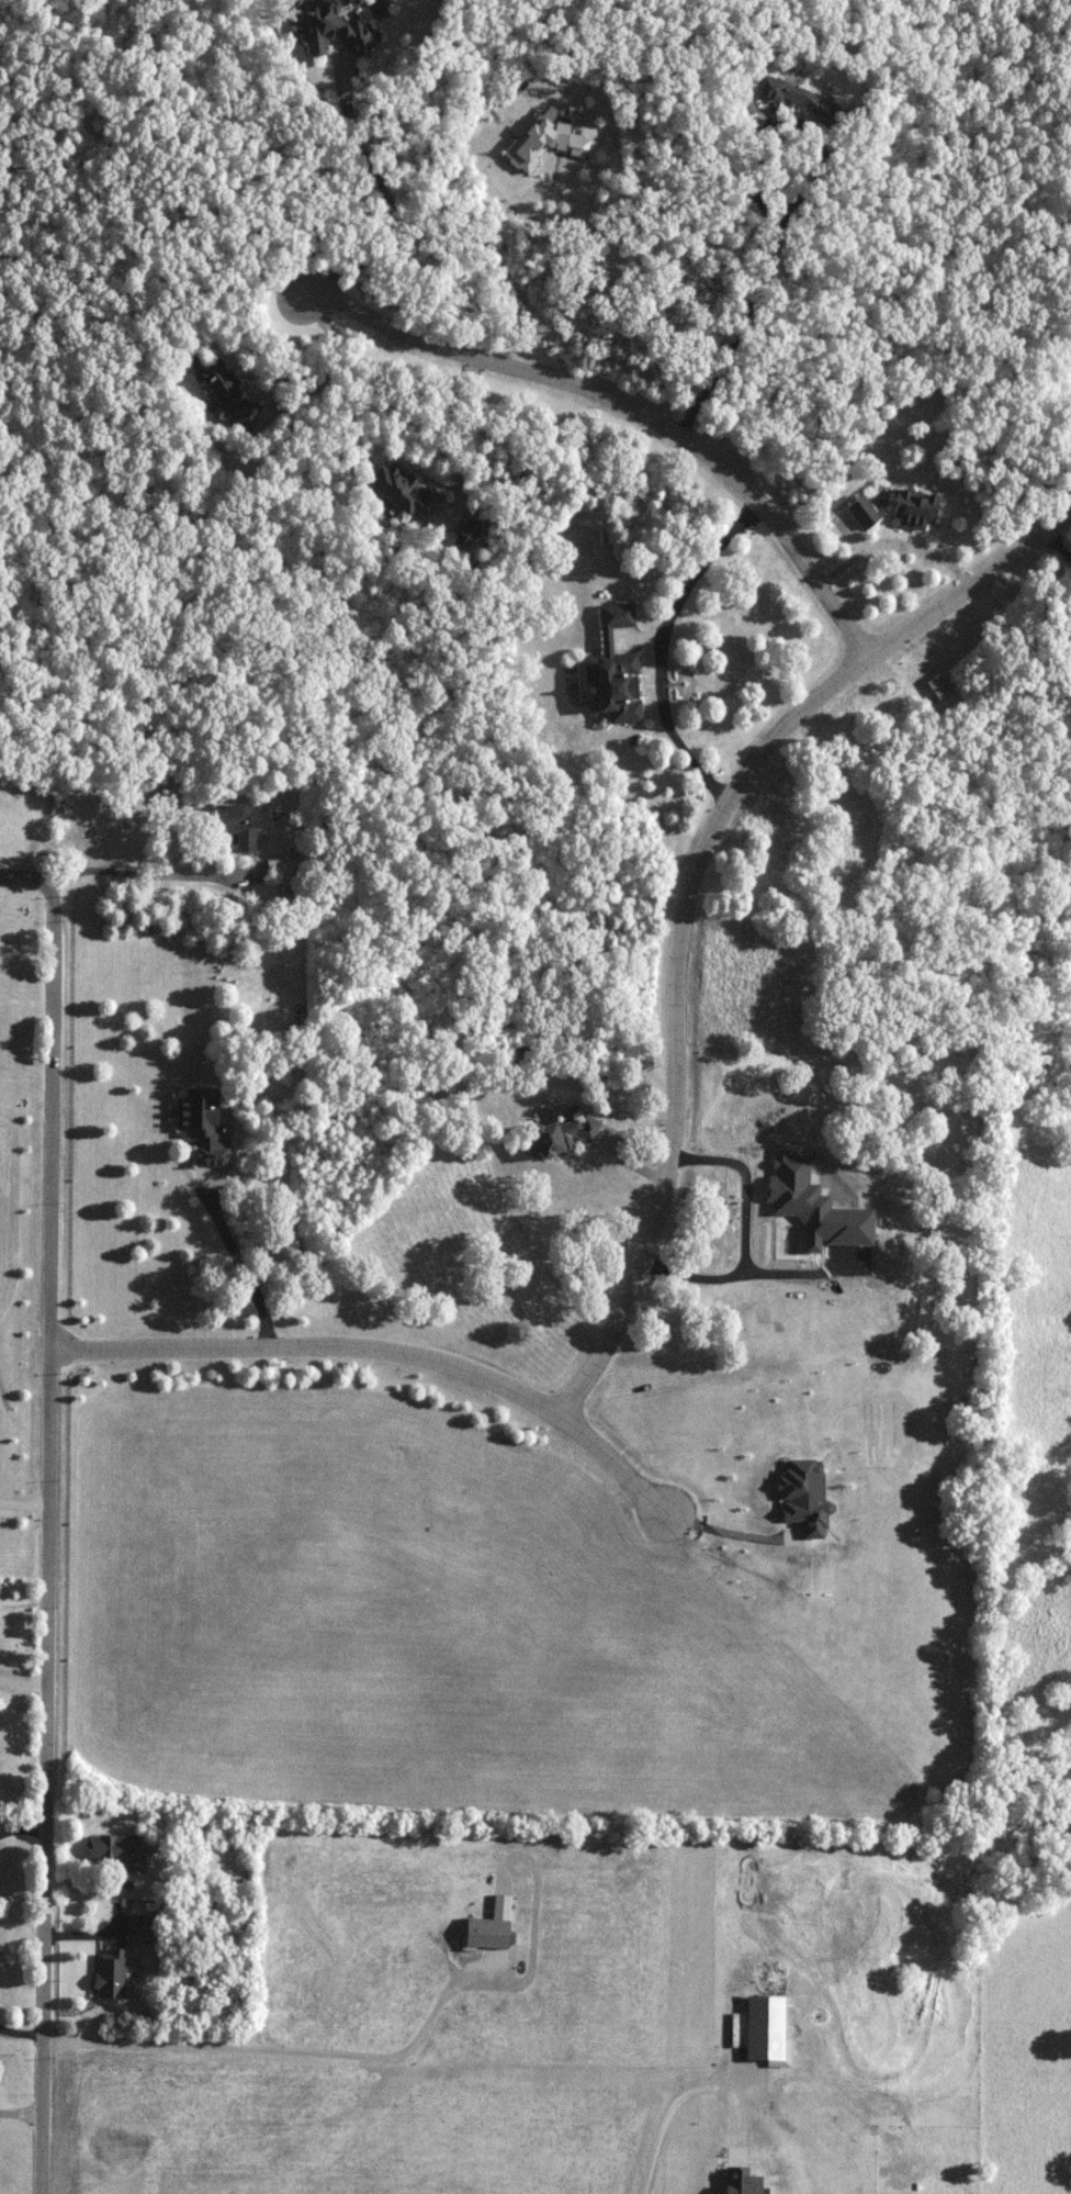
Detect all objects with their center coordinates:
building: (335, 31)
road: (793, 198)
road: (390, 202)
road: (597, 237)
road: (327, 363)
building: (226, 389)
road: (631, 406)
road: (430, 426)
building: (407, 491)
building: (917, 510)
building: (865, 512)
road: (1060, 545)
road: (658, 645)
building: (616, 669)
building: (939, 686)
building: (94, 818)
building: (235, 826)
building: (281, 865)
road: (27, 878)
road: (211, 880)
road: (689, 889)
building: (204, 1126)
building: (564, 1135)
road: (621, 1145)
road: (238, 1263)
road: (383, 1348)
road: (728, 1532)
road: (46, 1536)
road: (21, 1827)
building: (120, 1851)
building: (138, 1928)
building: (112, 1973)
road: (20, 2031)
road: (280, 2049)
road: (20, 2112)
road: (663, 2115)

